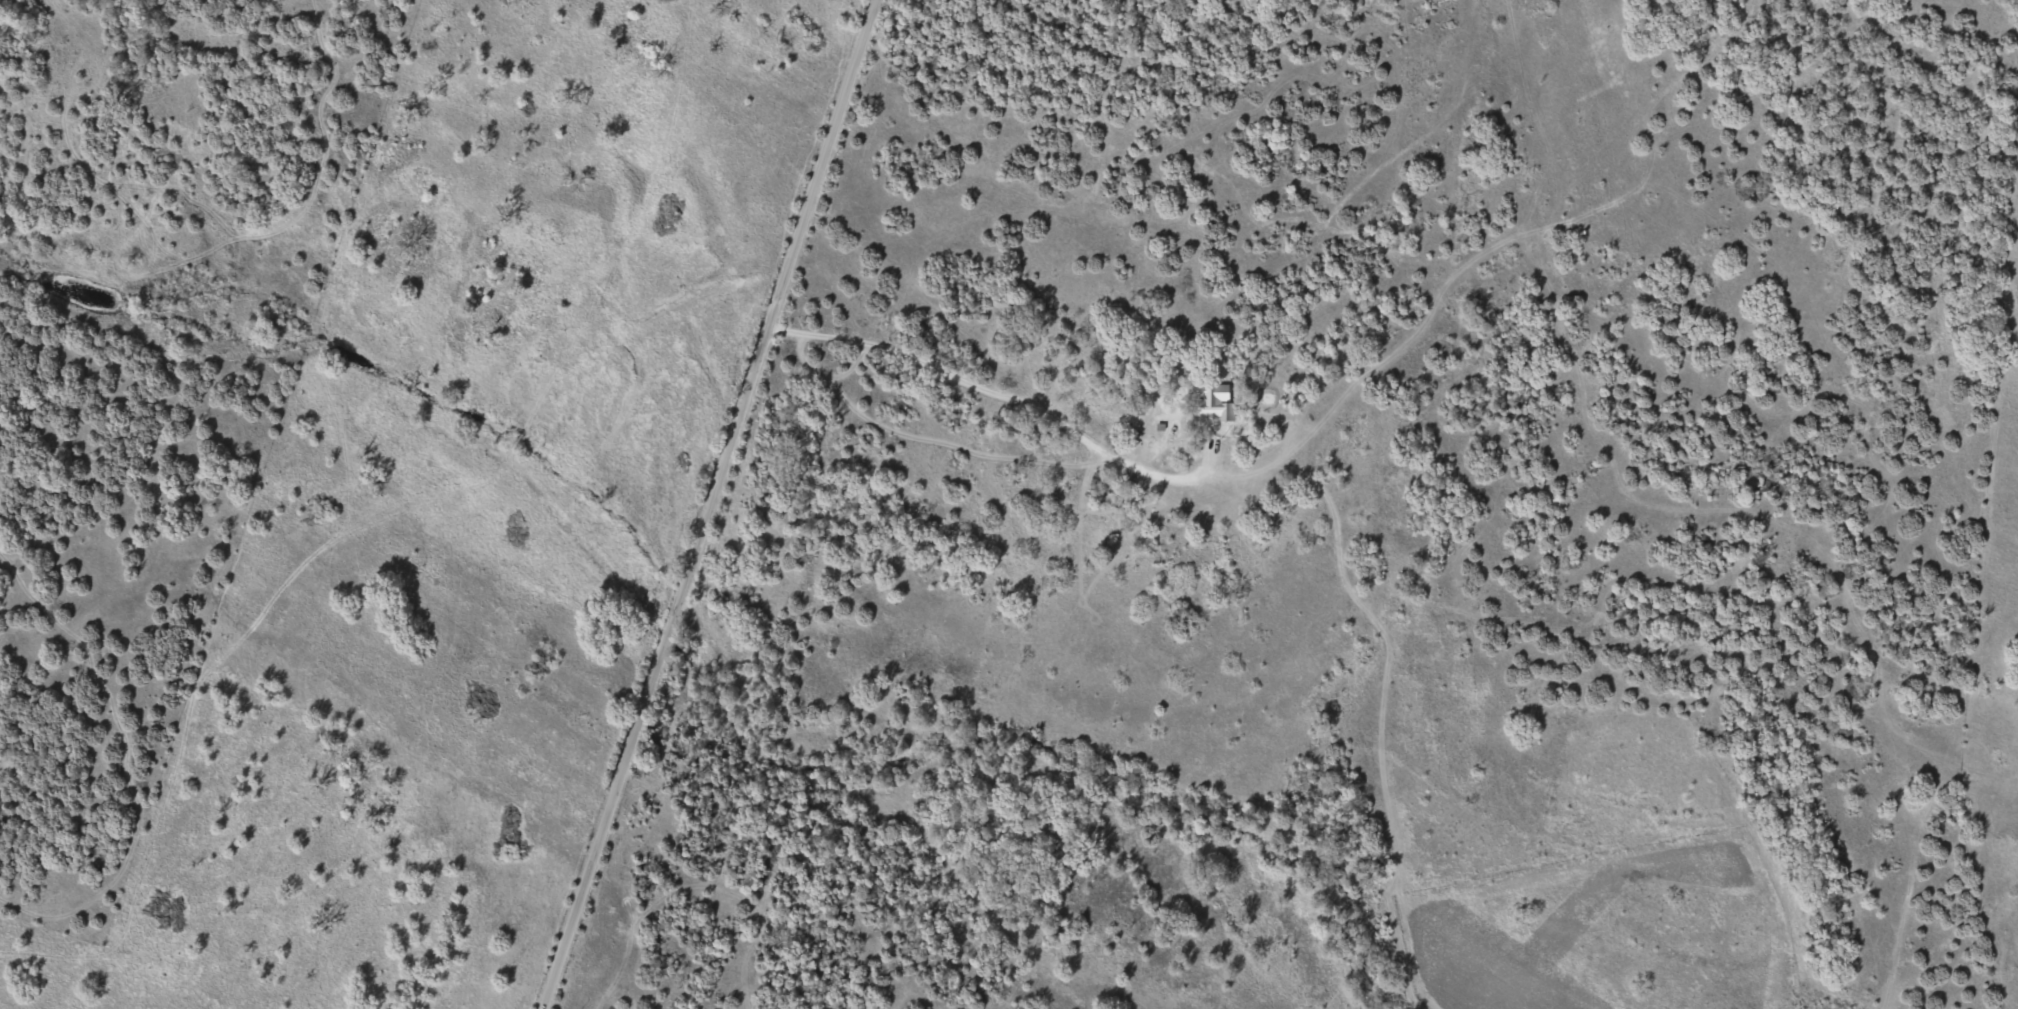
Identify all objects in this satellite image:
building: (1215, 408)
road: (718, 500)
road: (1435, 630)

